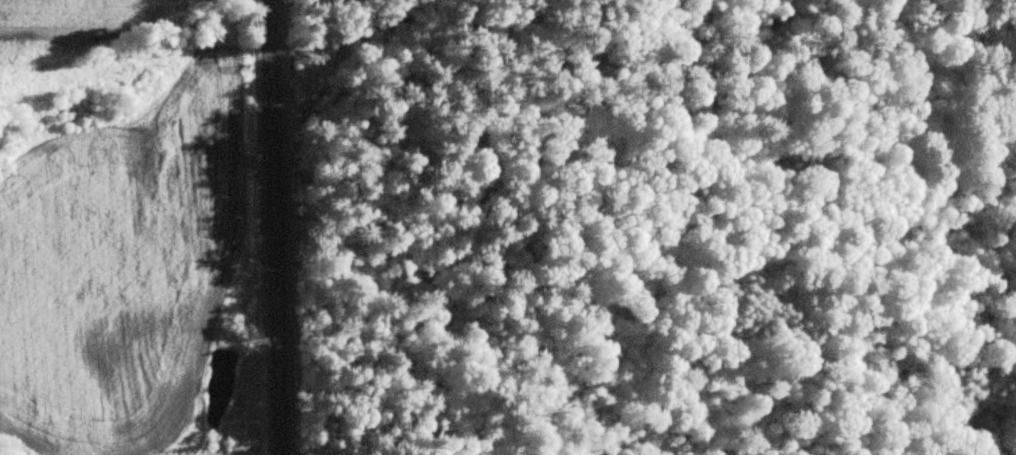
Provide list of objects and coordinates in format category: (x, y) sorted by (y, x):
road: (266, 227)

